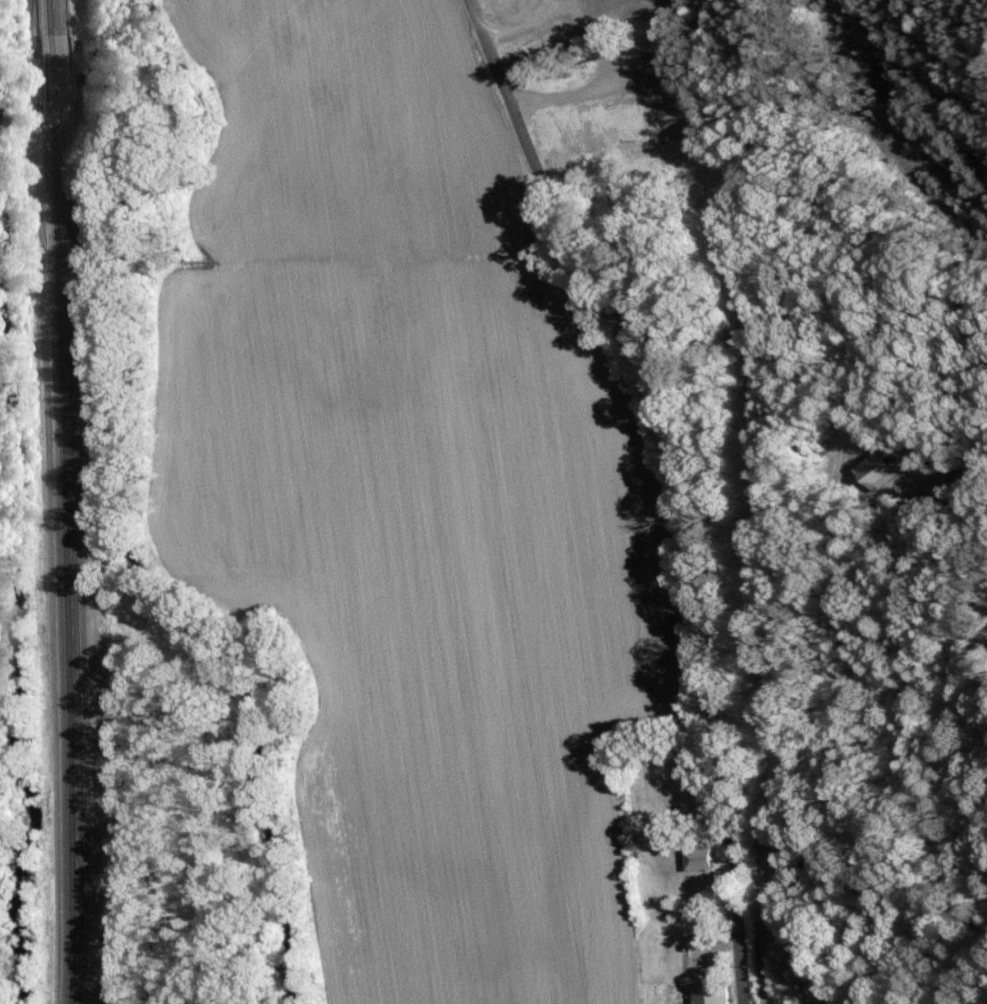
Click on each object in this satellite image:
road: (513, 21)
building: (649, 70)
road: (690, 478)
road: (68, 501)
building: (701, 858)

